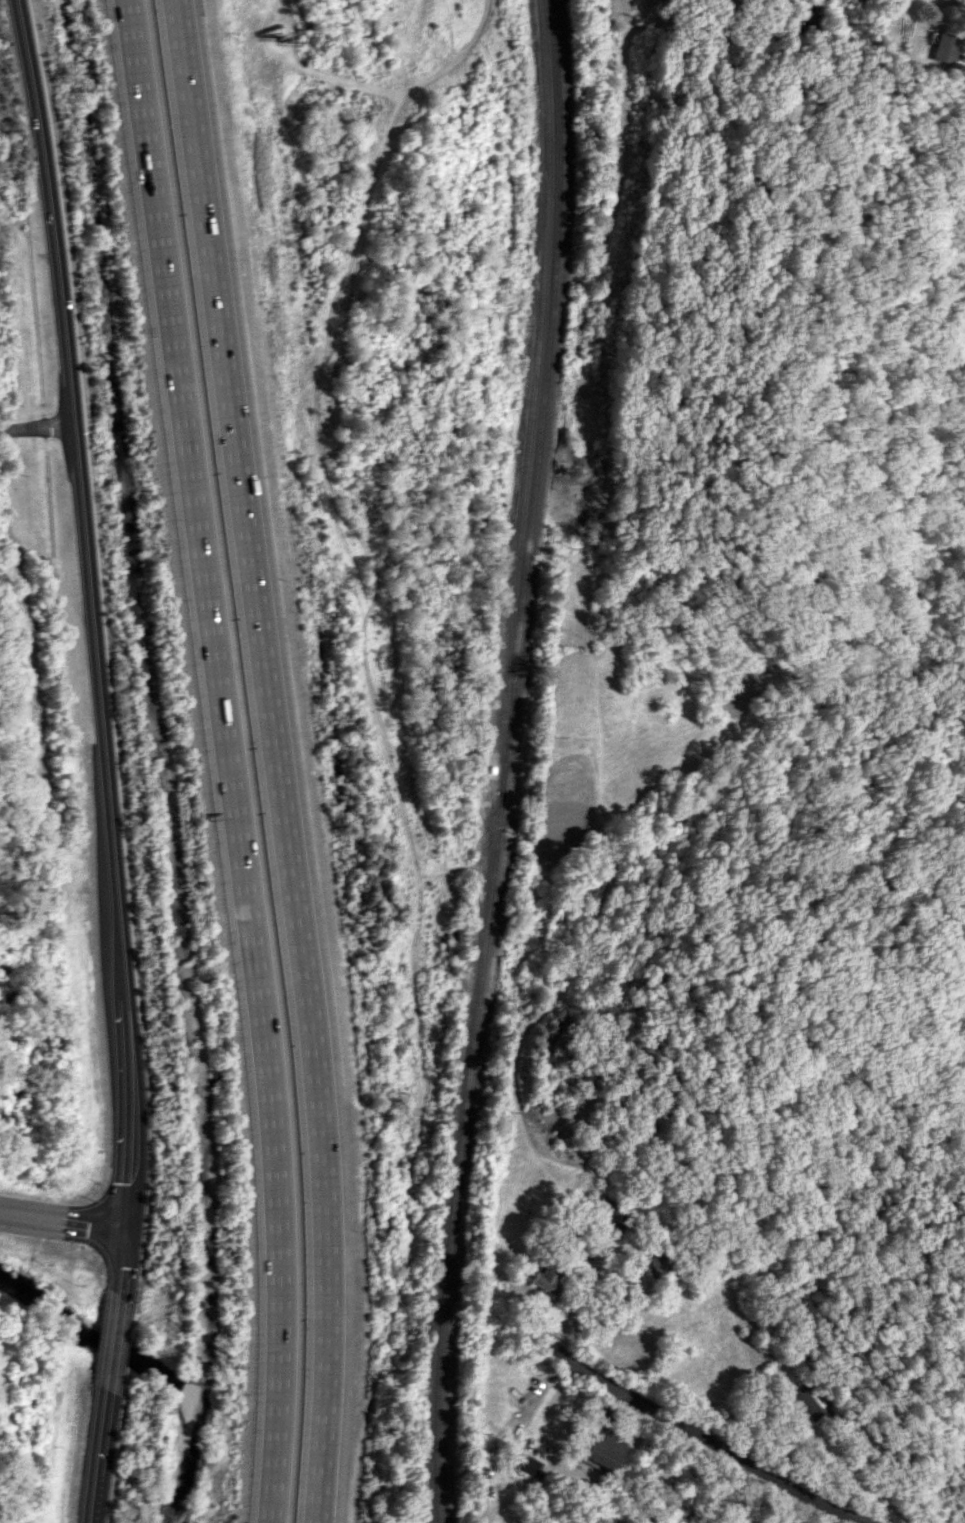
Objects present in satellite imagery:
building: (943, 47)
road: (629, 167)
road: (37, 427)
road: (225, 759)
road: (274, 759)
road: (105, 760)
railway: (505, 762)
building: (608, 1212)
road: (62, 1225)
building: (664, 1270)
building: (542, 1281)
river: (46, 1307)
river: (111, 1347)
building: (804, 1401)
river: (192, 1425)
road: (717, 1445)
building: (603, 1450)
building: (527, 1465)
road: (852, 1481)

